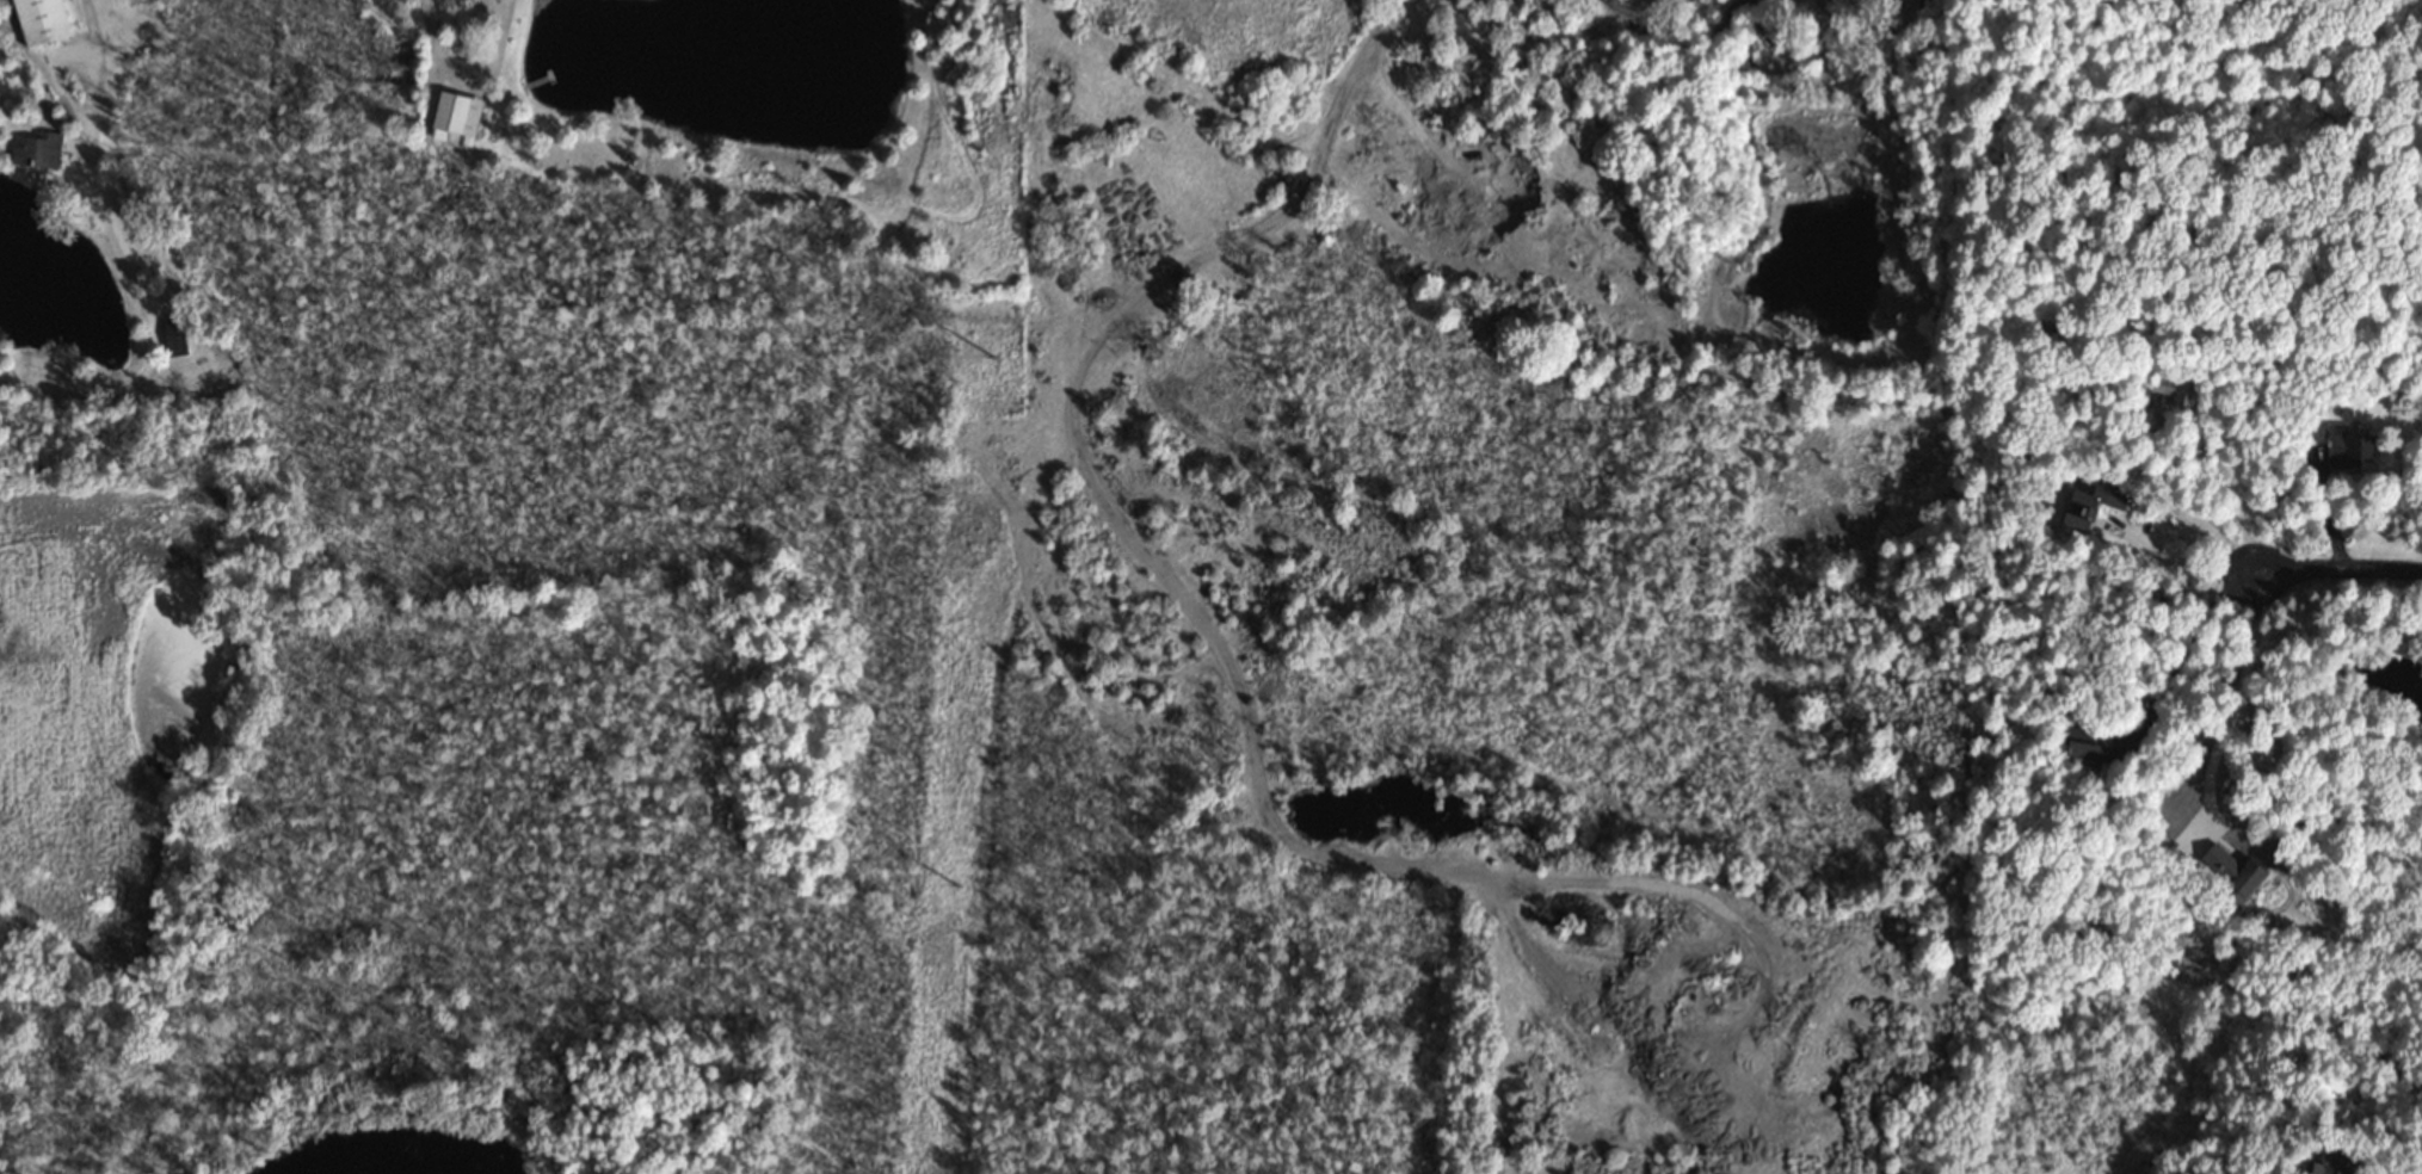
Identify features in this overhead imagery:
road: (1639, 12)
building: (39, 23)
road: (461, 69)
building: (456, 119)
building: (35, 152)
road: (148, 314)
building: (174, 338)
power tower: (988, 358)
building: (2173, 391)
road: (1073, 444)
building: (2347, 449)
road: (2193, 488)
building: (2089, 507)
road: (2146, 548)
road: (2338, 570)
road: (2188, 643)
road: (2237, 700)
building: (2094, 748)
building: (2231, 872)
power tower: (954, 888)
building: (2337, 1156)

